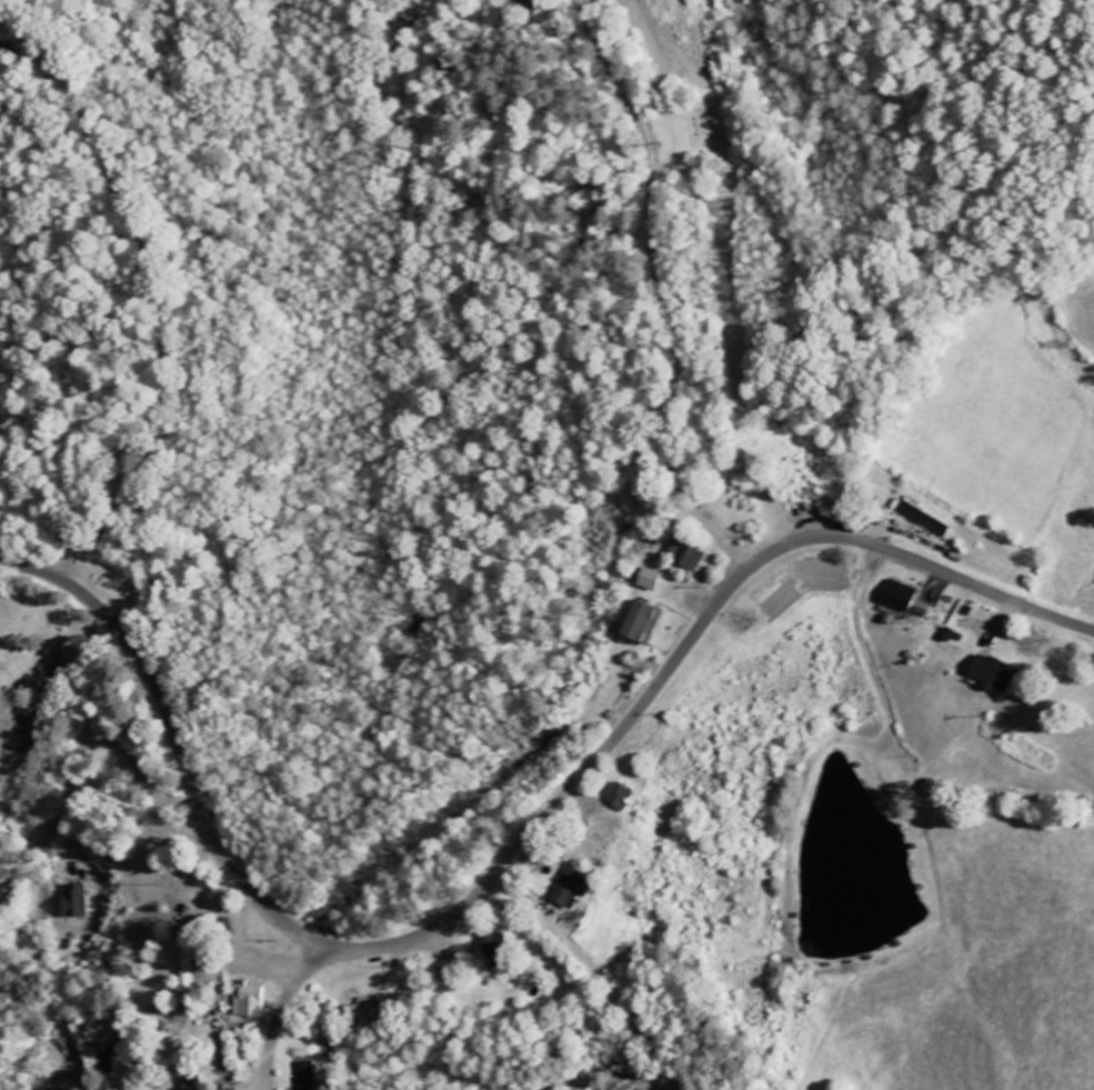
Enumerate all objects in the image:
road: (663, 290)
building: (926, 520)
building: (687, 556)
building: (651, 579)
building: (901, 597)
building: (642, 622)
building: (950, 634)
building: (994, 673)
road: (78, 753)
building: (620, 797)
road: (510, 858)
building: (568, 888)
building: (71, 902)
building: (493, 944)
road: (599, 974)
building: (249, 1000)
road: (282, 1010)
building: (307, 1076)
road: (262, 1081)
building: (190, 1083)

